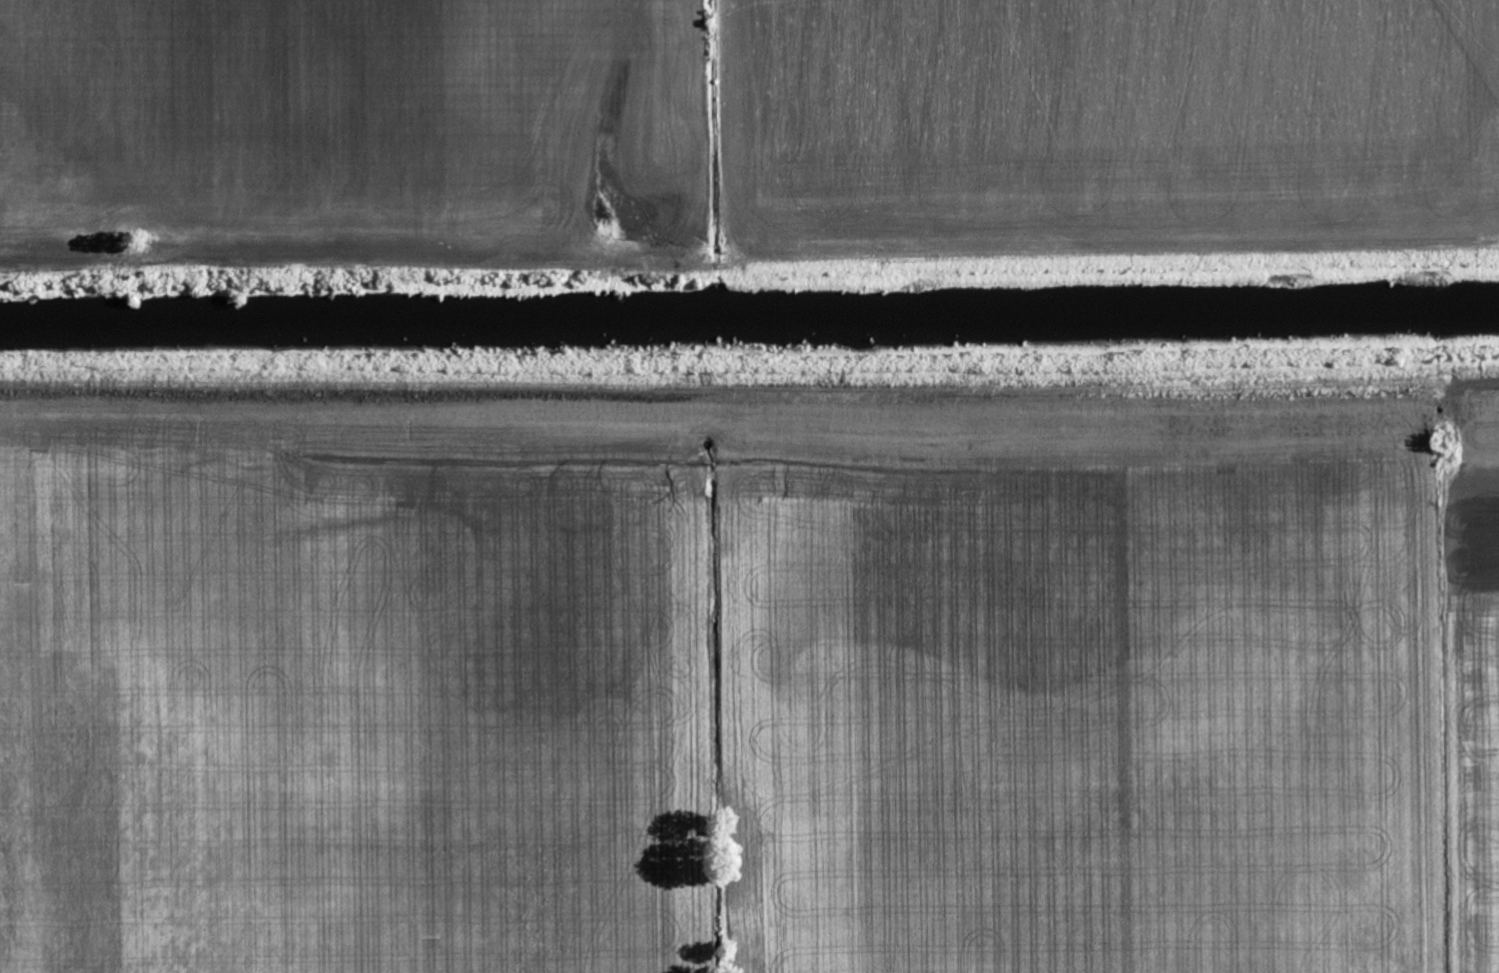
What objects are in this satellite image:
road: (749, 265)
river: (749, 320)

